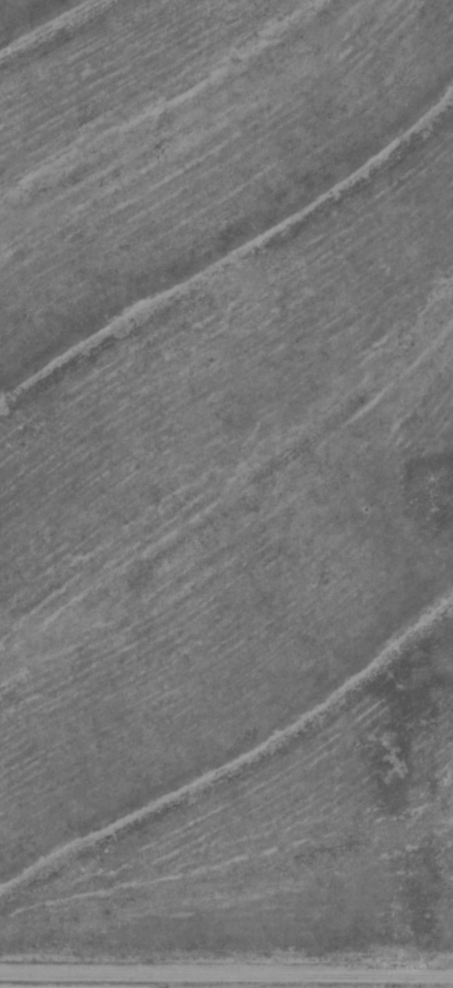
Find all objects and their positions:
road: (226, 959)

